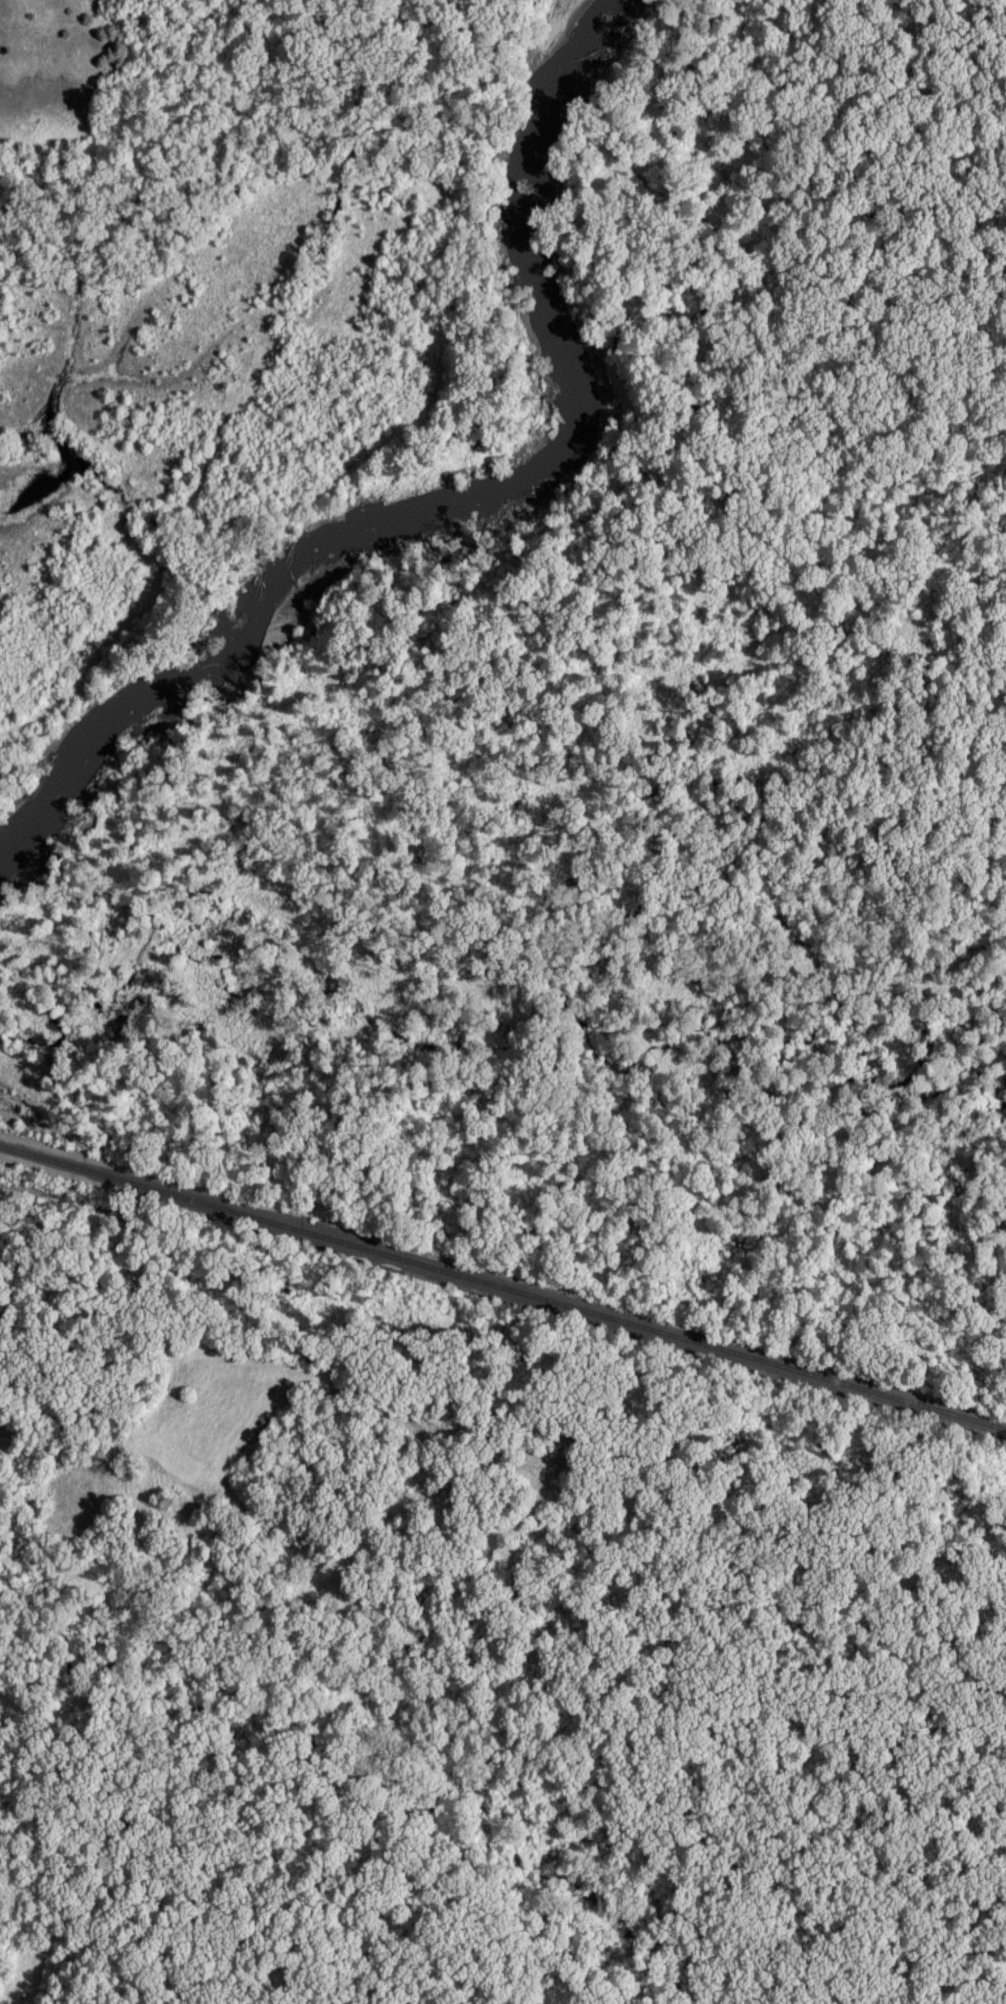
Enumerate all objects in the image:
river: (460, 493)
railway: (503, 1289)

